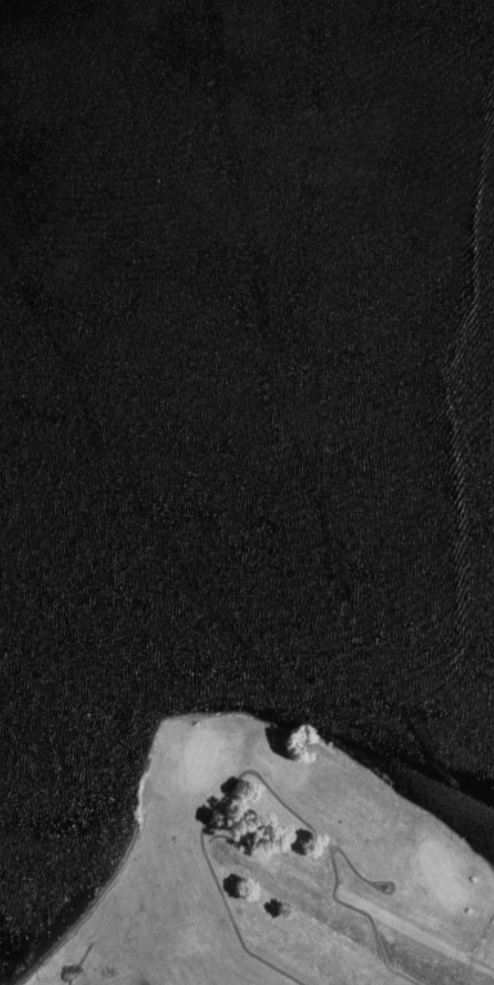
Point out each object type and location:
park: (203, 760)
road: (262, 778)
park: (275, 874)
park: (445, 877)
road: (372, 885)

